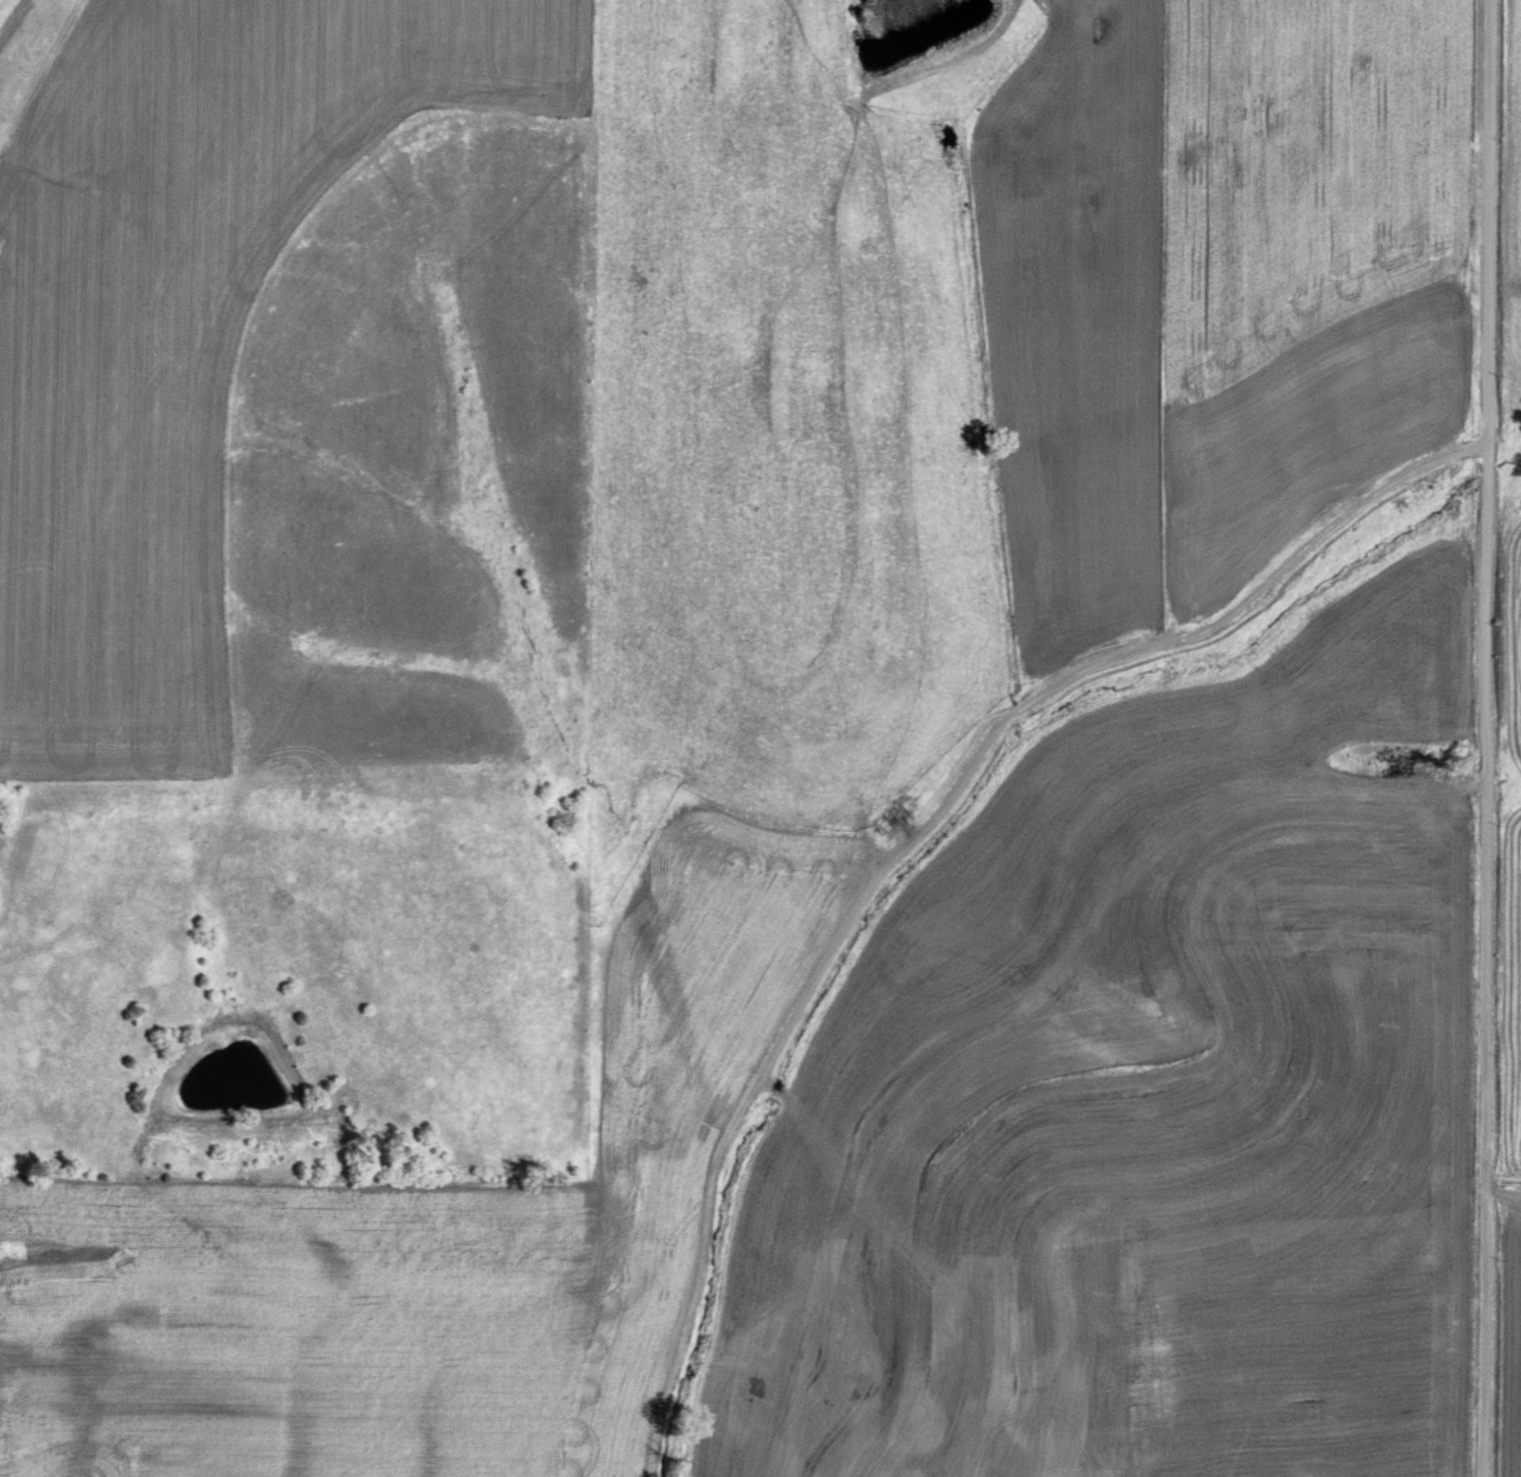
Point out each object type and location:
road: (1486, 738)

